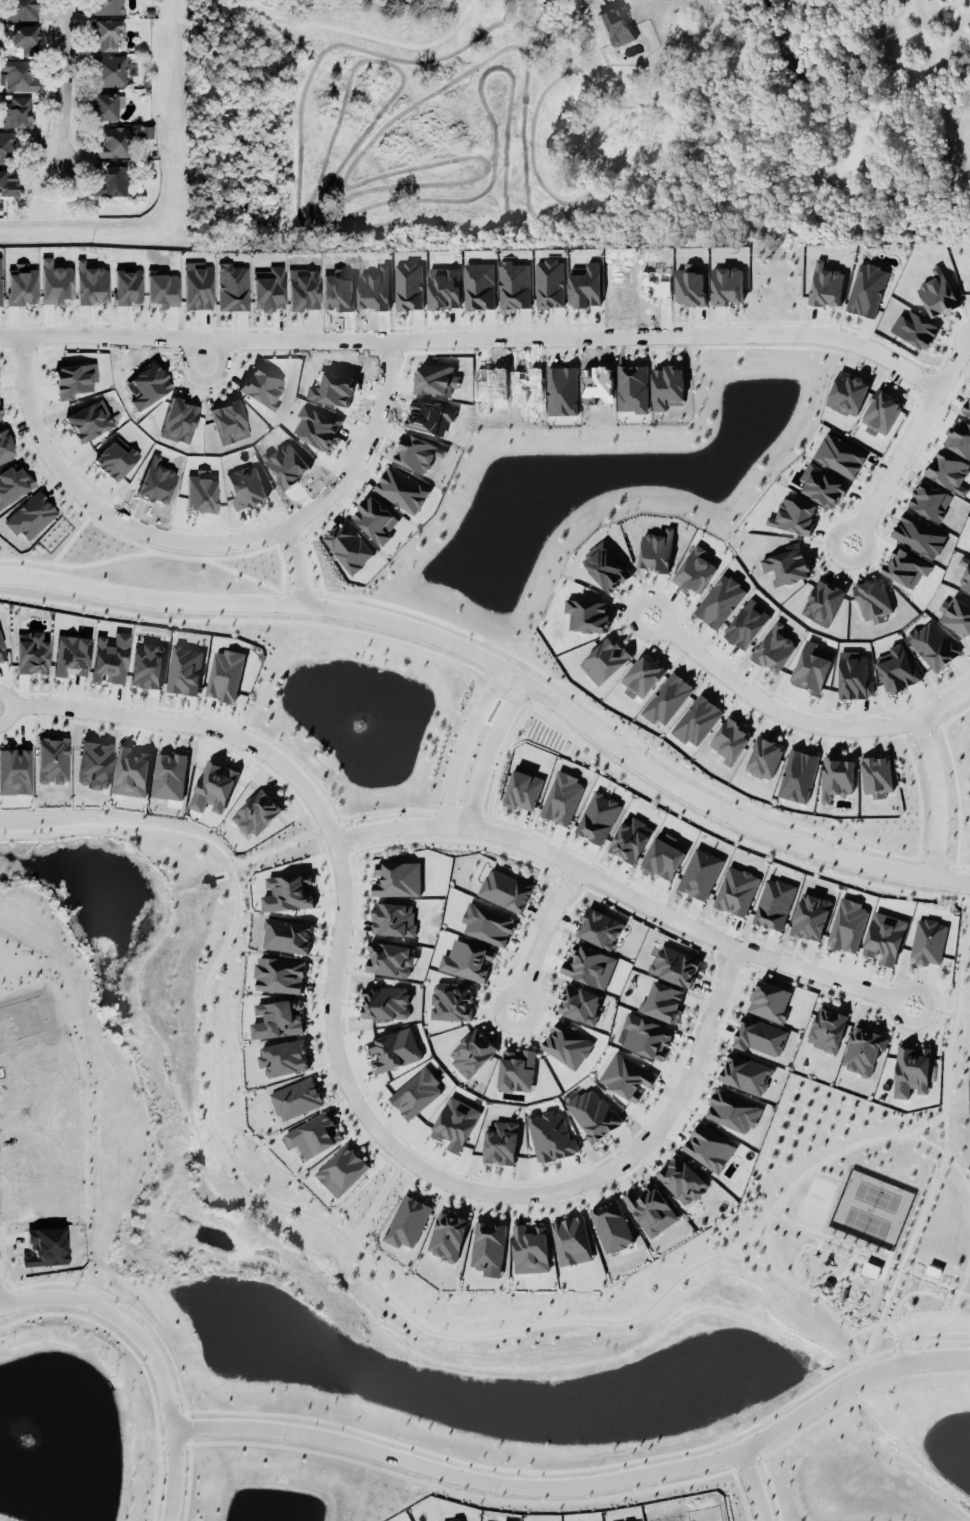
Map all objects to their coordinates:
building: (106, 6)
building: (21, 9)
building: (616, 25)
building: (107, 33)
road: (364, 35)
building: (26, 37)
building: (109, 69)
building: (18, 73)
road: (69, 83)
building: (105, 106)
building: (17, 111)
building: (144, 132)
building: (115, 142)
building: (5, 147)
building: (112, 181)
building: (8, 182)
building: (969, 268)
building: (0, 282)
building: (550, 282)
building: (513, 283)
building: (409, 284)
building: (826, 284)
building: (197, 285)
building: (444, 286)
building: (865, 286)
building: (232, 287)
building: (268, 288)
building: (303, 288)
building: (937, 292)
building: (915, 328)
road: (798, 333)
road: (192, 339)
building: (434, 377)
building: (74, 379)
building: (667, 386)
building: (847, 392)
building: (967, 408)
building: (881, 411)
building: (88, 419)
building: (228, 421)
road: (902, 437)
building: (959, 438)
road: (366, 442)
building: (840, 454)
building: (113, 459)
building: (949, 470)
building: (12, 483)
building: (822, 484)
building: (246, 486)
building: (402, 488)
building: (200, 491)
building: (930, 499)
road: (97, 507)
building: (793, 515)
building: (30, 516)
building: (918, 533)
building: (656, 549)
building: (787, 563)
building: (606, 564)
building: (906, 566)
building: (695, 570)
building: (965, 574)
road: (152, 597)
building: (873, 599)
building: (720, 600)
building: (822, 601)
building: (587, 614)
building: (956, 614)
building: (747, 623)
building: (933, 644)
building: (774, 647)
building: (31, 652)
building: (1, 653)
building: (70, 655)
building: (110, 658)
building: (604, 659)
building: (146, 663)
building: (811, 666)
building: (896, 666)
building: (185, 669)
building: (225, 672)
building: (852, 672)
building: (642, 675)
building: (667, 698)
road: (940, 699)
building: (697, 719)
road: (837, 728)
road: (463, 739)
building: (730, 740)
road: (488, 748)
building: (765, 757)
building: (52, 759)
building: (93, 761)
building: (131, 769)
building: (15, 770)
building: (874, 772)
building: (798, 774)
building: (837, 776)
building: (213, 786)
building: (522, 786)
building: (562, 796)
road: (706, 798)
building: (257, 812)
building: (596, 815)
road: (726, 833)
building: (630, 837)
road: (276, 844)
building: (662, 853)
building: (700, 872)
building: (398, 878)
building: (735, 888)
building: (506, 889)
road: (625, 890)
building: (288, 891)
road: (969, 898)
building: (774, 902)
building: (809, 912)
building: (393, 918)
building: (487, 923)
building: (848, 924)
building: (600, 927)
road: (542, 932)
building: (287, 935)
building: (884, 937)
building: (928, 940)
building: (389, 958)
building: (467, 959)
building: (674, 963)
building: (589, 965)
building: (451, 1000)
building: (662, 1000)
building: (769, 1000)
building: (384, 1001)
building: (580, 1003)
road: (931, 1007)
building: (278, 1018)
building: (827, 1025)
building: (646, 1035)
building: (759, 1035)
building: (567, 1044)
building: (863, 1046)
building: (394, 1049)
building: (472, 1051)
road: (337, 1055)
building: (284, 1057)
building: (517, 1069)
building: (911, 1070)
building: (745, 1073)
building: (625, 1074)
building: (416, 1092)
building: (296, 1096)
building: (733, 1110)
building: (593, 1112)
building: (454, 1120)
building: (314, 1134)
building: (551, 1135)
building: (500, 1140)
building: (708, 1145)
building: (342, 1169)
building: (682, 1179)
road: (374, 1196)
building: (651, 1206)
building: (408, 1220)
building: (611, 1225)
building: (448, 1232)
building: (570, 1237)
building: (488, 1244)
building: (530, 1246)
road: (64, 1299)
road: (518, 1325)
road: (172, 1414)
road: (582, 1484)
road: (747, 1485)

